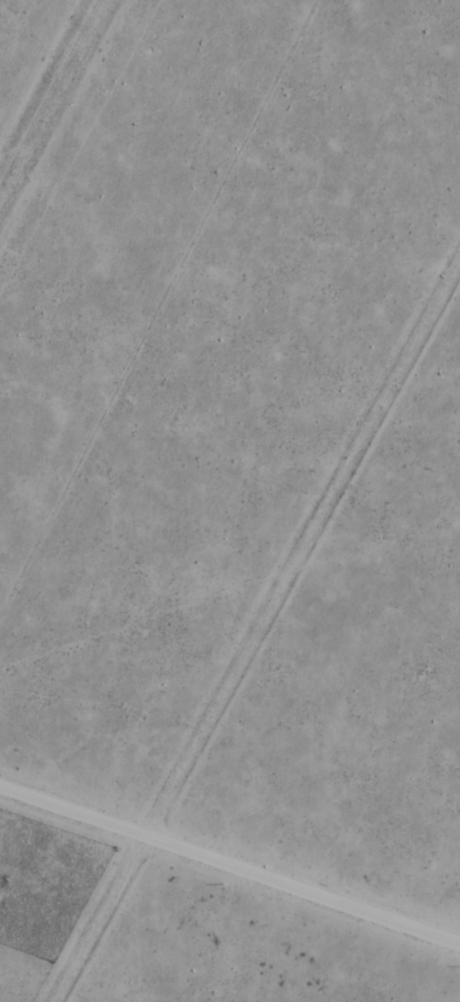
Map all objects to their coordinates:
airport runway: (50, 95)
road: (258, 635)
road: (230, 868)

